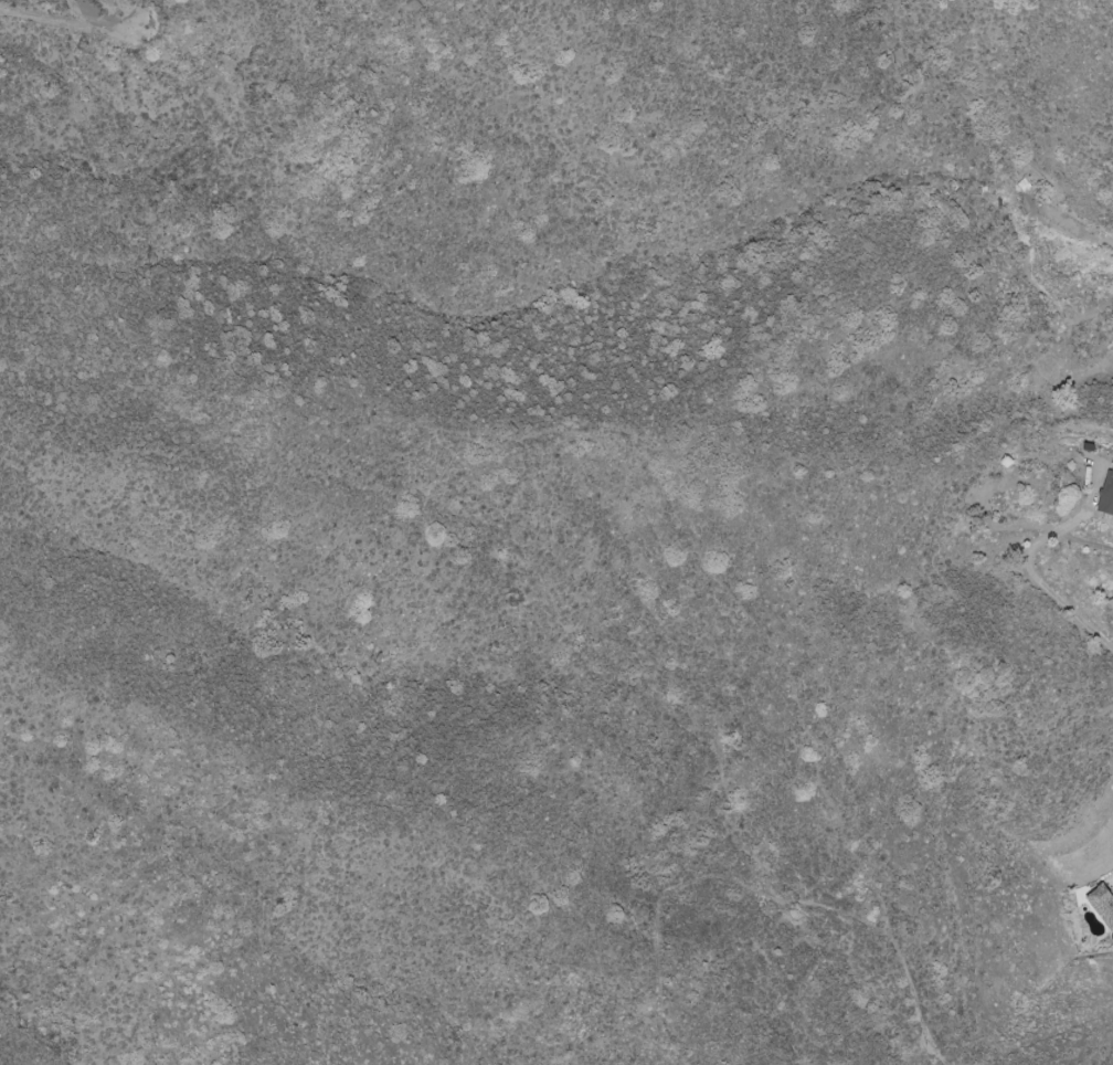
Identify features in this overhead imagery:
building: (1109, 494)
road: (1080, 539)
road: (1046, 588)
building: (1104, 904)

